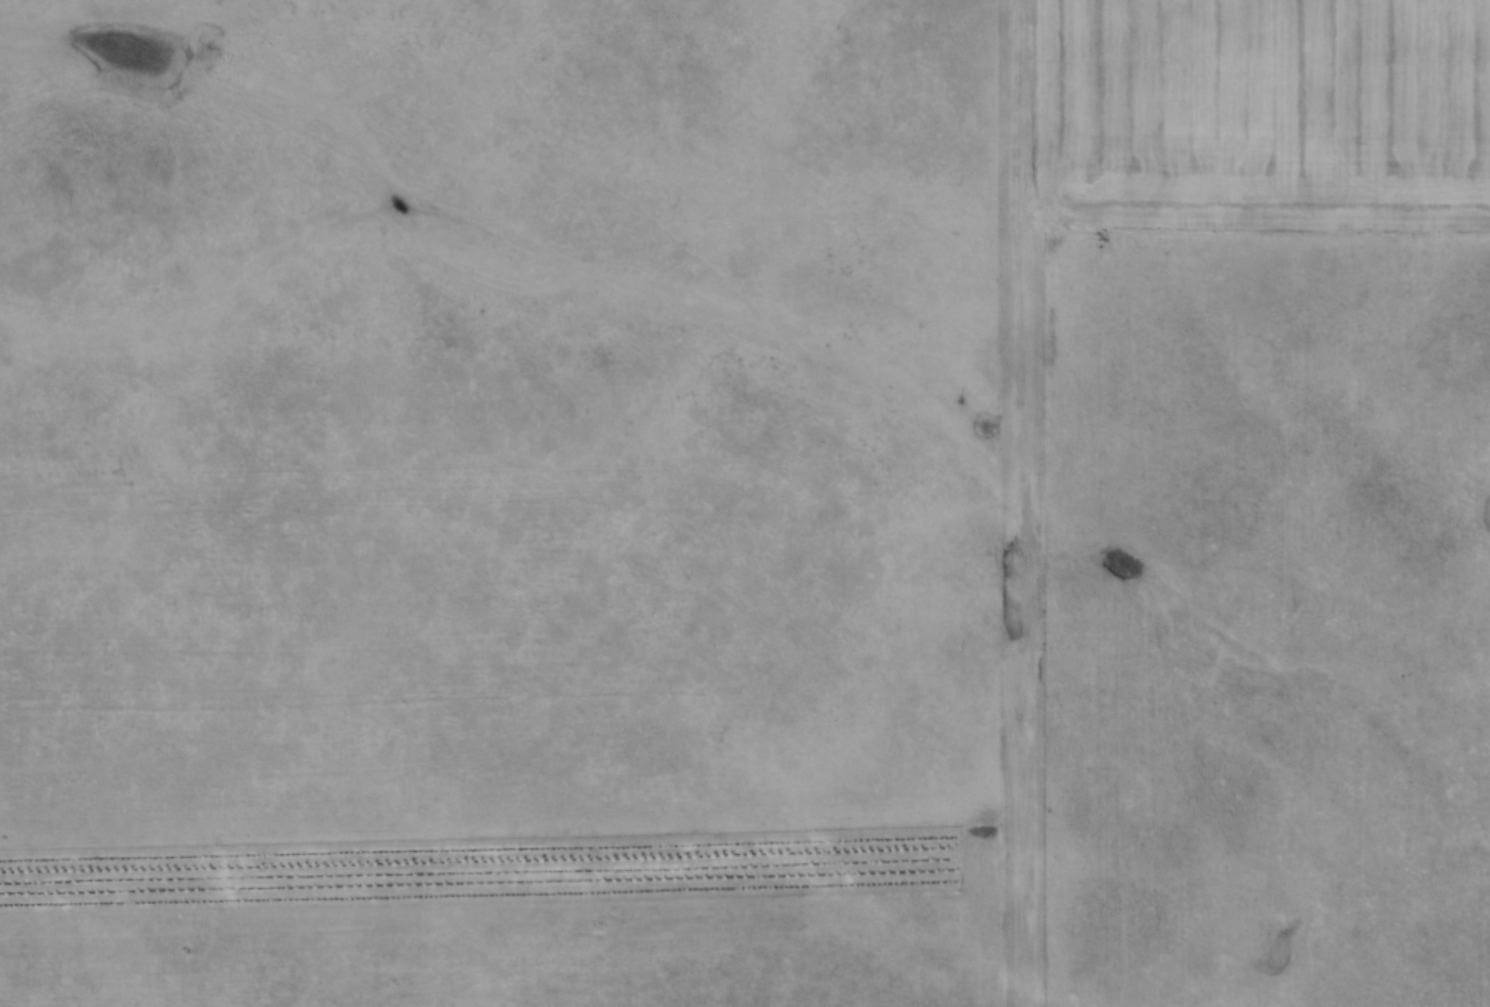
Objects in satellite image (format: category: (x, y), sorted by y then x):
road: (1027, 503)

